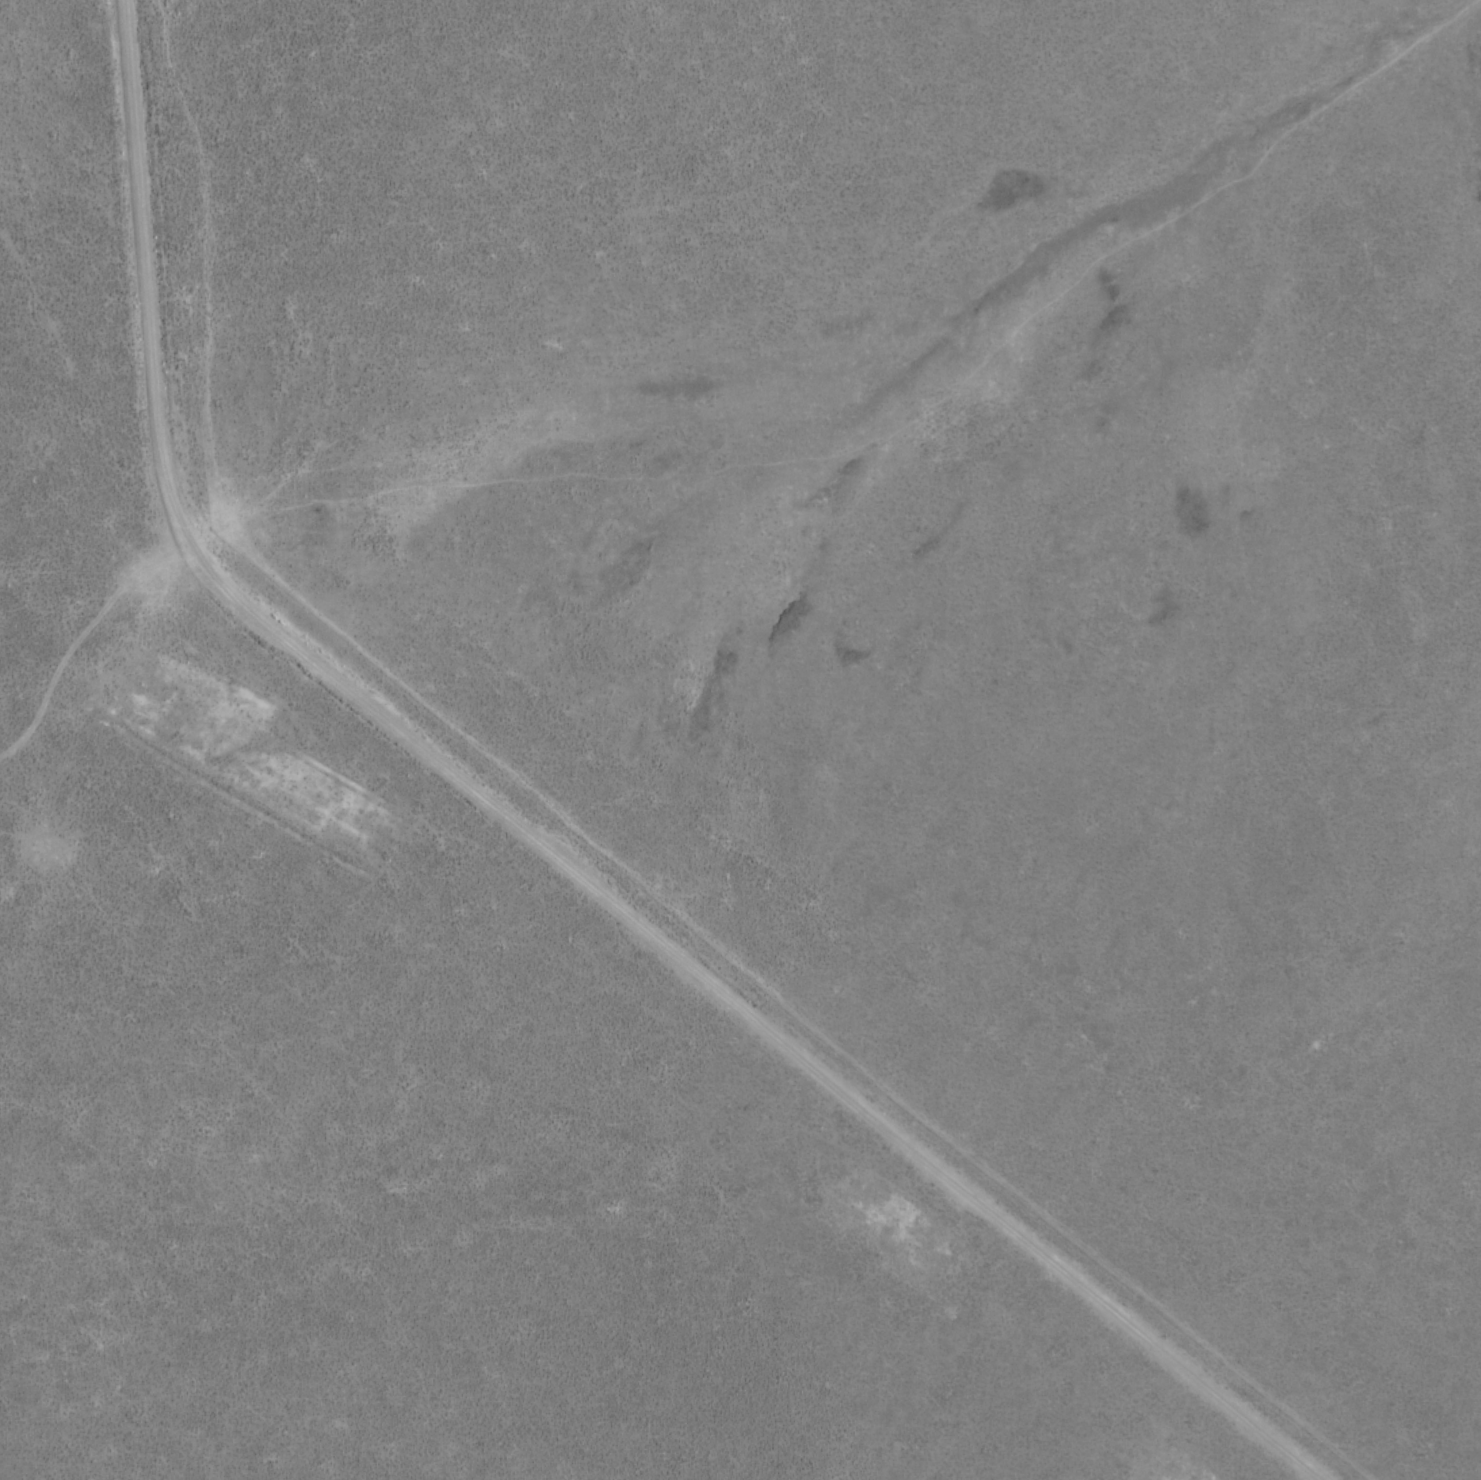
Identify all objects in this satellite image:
road: (146, 282)
road: (99, 586)
road: (762, 1021)

